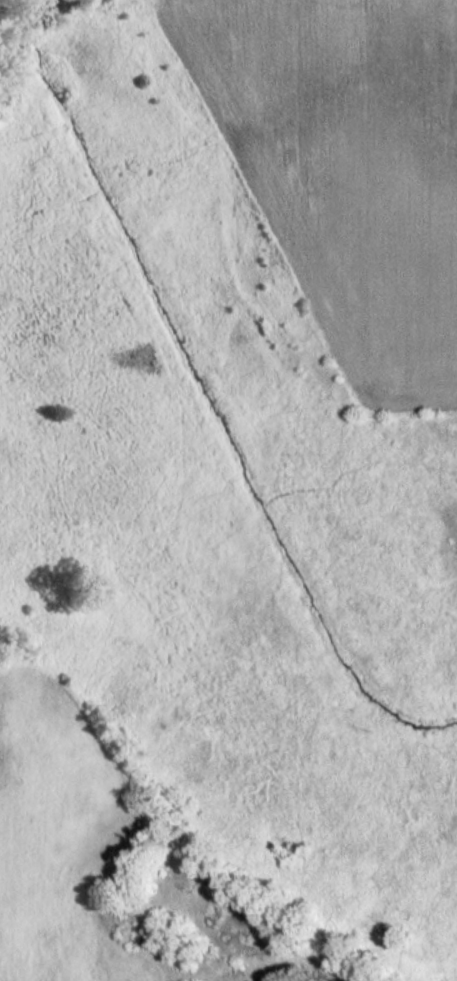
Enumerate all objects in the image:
road: (31, 19)

